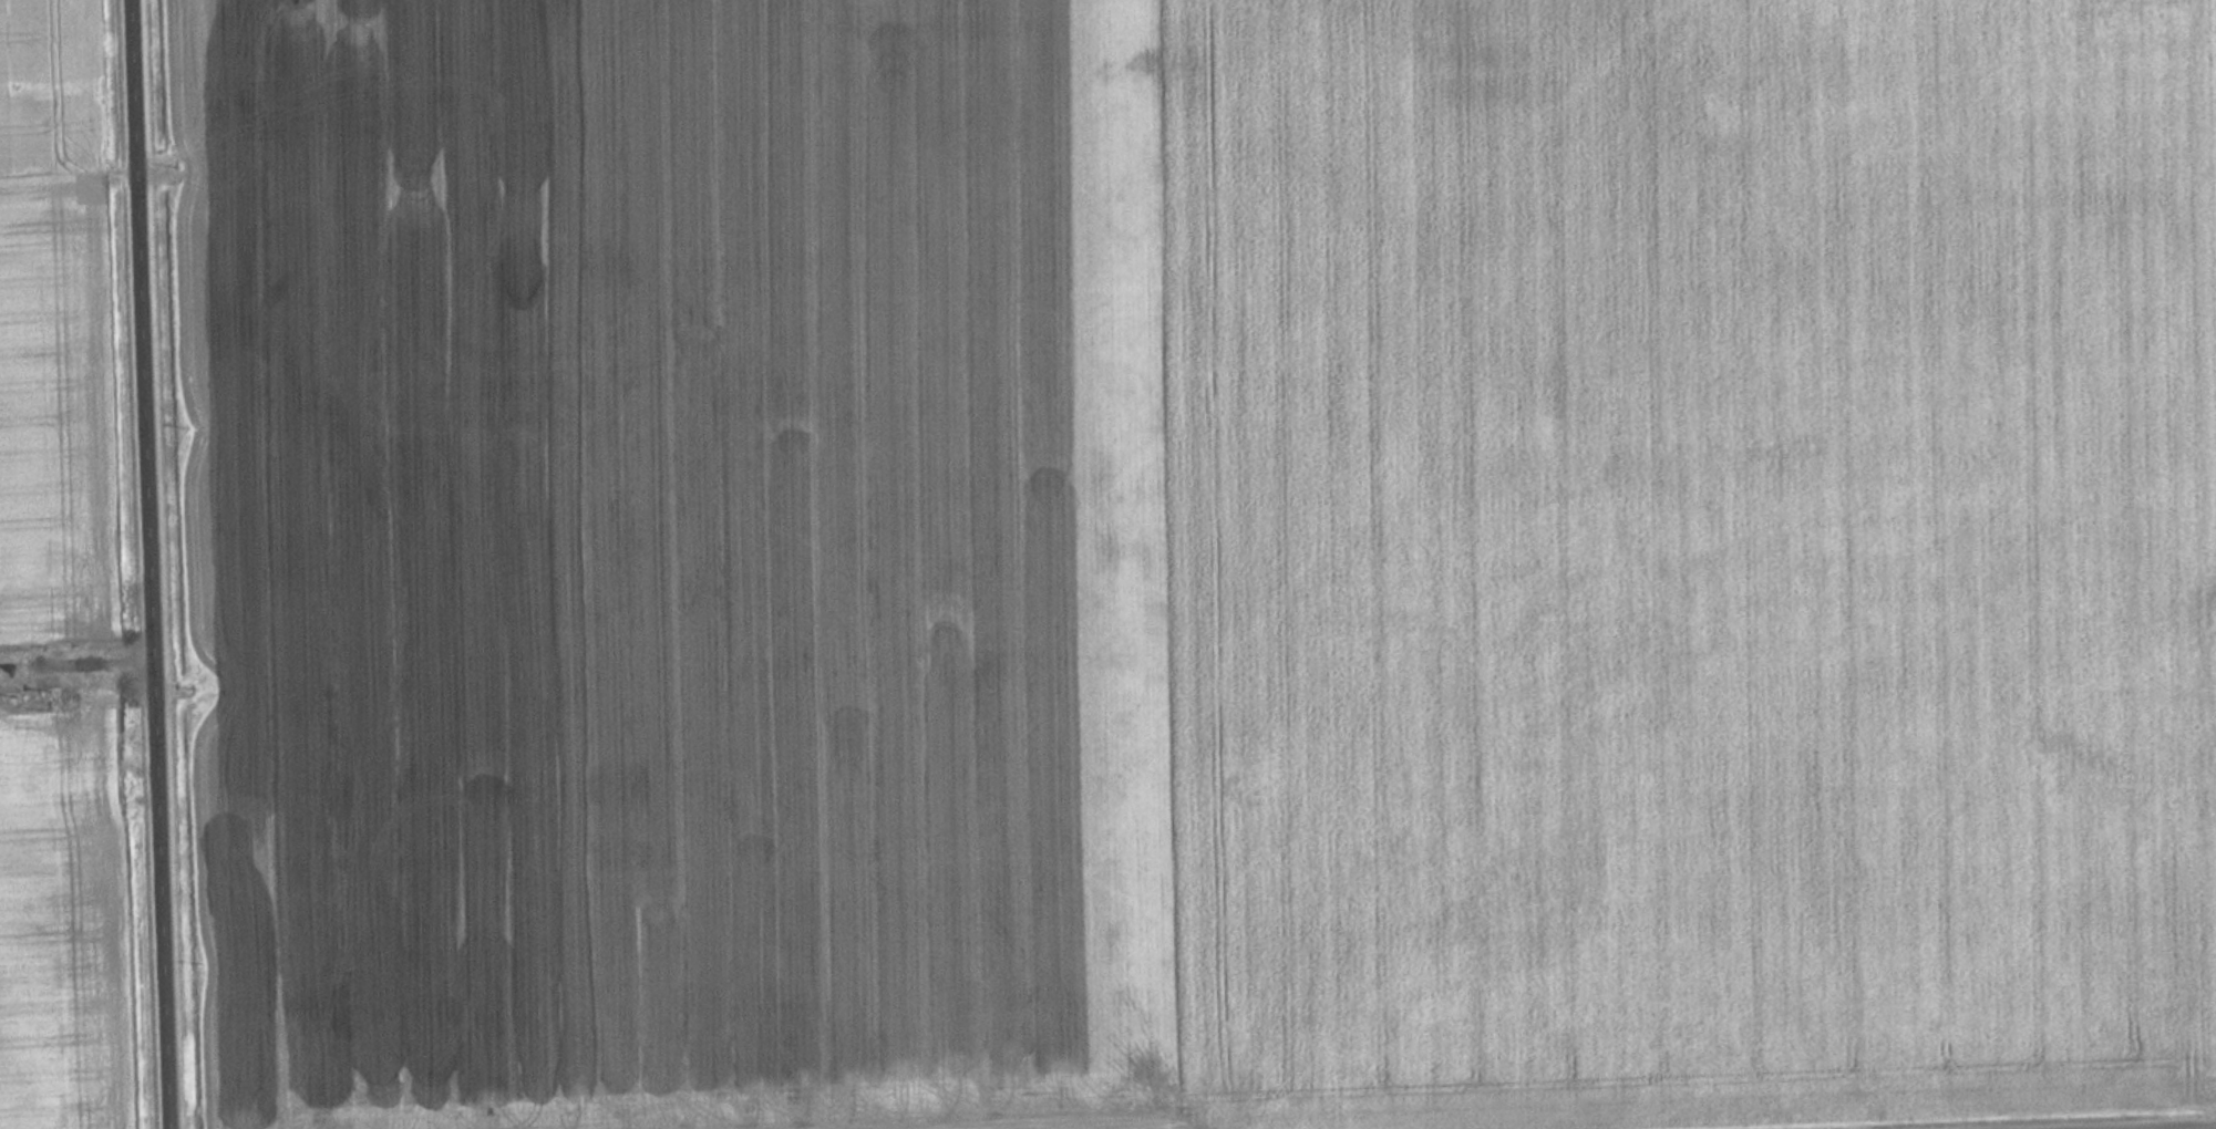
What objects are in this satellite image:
road: (166, 564)
road: (2142, 1126)

